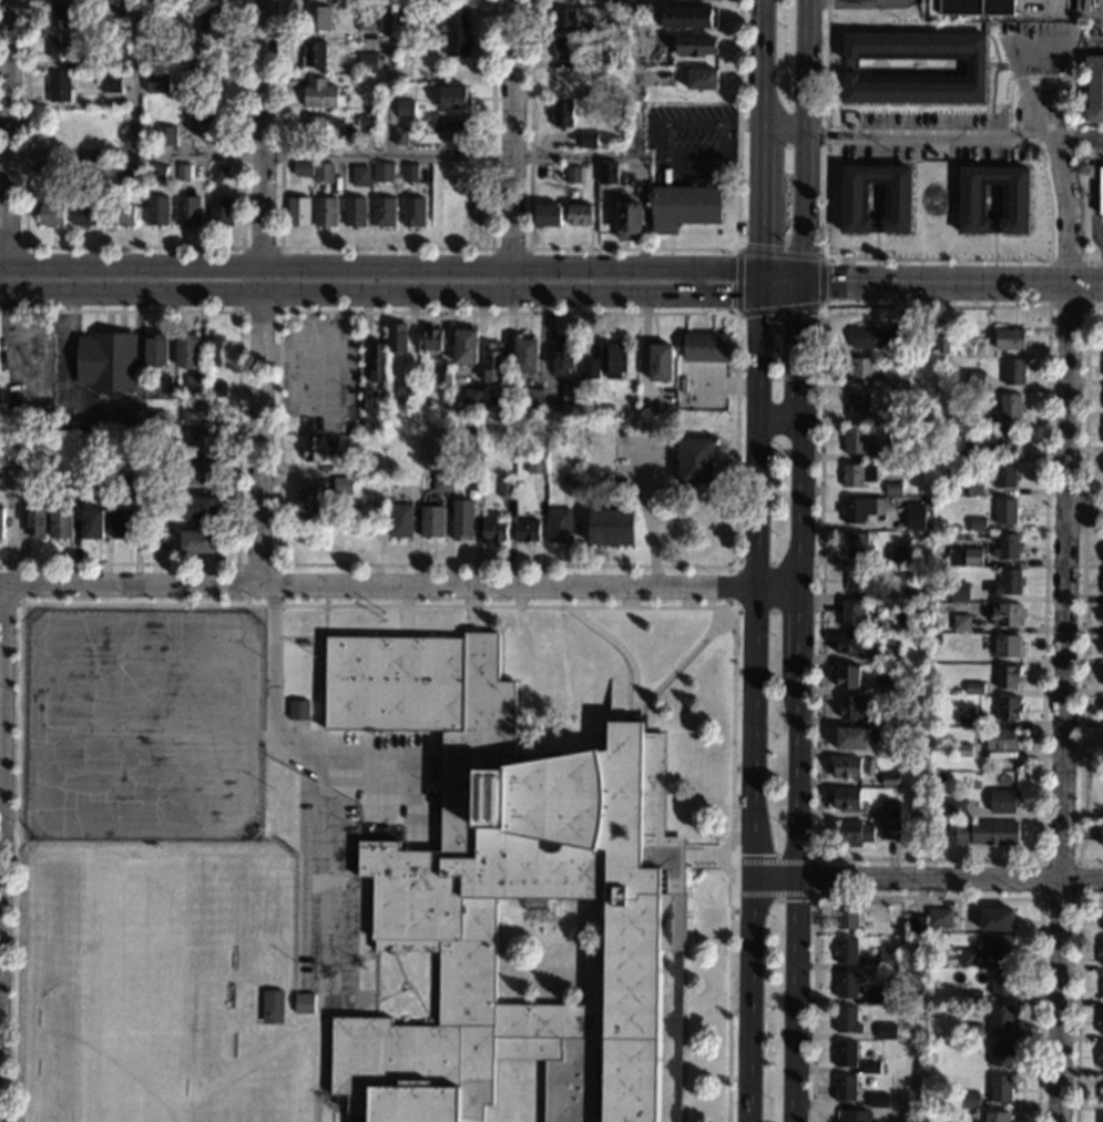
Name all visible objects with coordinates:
road: (828, 1)
building: (615, 2)
building: (977, 7)
building: (933, 8)
building: (114, 11)
building: (402, 12)
building: (426, 12)
building: (58, 16)
building: (317, 18)
building: (563, 18)
building: (686, 18)
building: (946, 18)
building: (366, 19)
building: (210, 21)
building: (594, 30)
building: (455, 32)
building: (181, 41)
building: (149, 44)
building: (696, 45)
building: (58, 47)
building: (568, 49)
building: (314, 53)
building: (599, 59)
building: (367, 63)
building: (86, 64)
building: (976, 67)
building: (205, 70)
road: (764, 72)
road: (134, 76)
road: (387, 78)
road: (637, 78)
building: (665, 78)
building: (566, 79)
building: (702, 79)
building: (110, 82)
building: (156, 83)
building: (408, 85)
building: (59, 88)
building: (1094, 89)
building: (596, 92)
building: (320, 94)
building: (453, 96)
building: (404, 109)
building: (562, 113)
building: (201, 119)
building: (366, 123)
road: (749, 123)
road: (731, 124)
building: (314, 129)
building: (457, 130)
road: (1076, 133)
road: (803, 134)
building: (165, 135)
building: (399, 135)
road: (906, 135)
building: (601, 136)
building: (589, 140)
road: (3, 144)
road: (514, 145)
road: (324, 155)
road: (660, 157)
road: (764, 163)
building: (303, 169)
building: (57, 171)
building: (134, 172)
building: (156, 172)
building: (182, 172)
building: (323, 172)
building: (381, 172)
building: (409, 173)
building: (607, 173)
building: (217, 174)
building: (476, 174)
building: (573, 174)
building: (359, 175)
building: (96, 180)
road: (1093, 186)
building: (344, 188)
building: (1100, 190)
road: (1066, 196)
building: (460, 198)
building: (898, 201)
building: (1017, 201)
building: (685, 205)
building: (156, 210)
building: (186, 210)
building: (81, 211)
building: (221, 211)
building: (297, 211)
building: (412, 211)
building: (325, 212)
building: (354, 212)
building: (384, 212)
building: (51, 214)
building: (121, 214)
building: (448, 214)
building: (476, 214)
building: (580, 214)
building: (548, 215)
building: (630, 216)
road: (764, 237)
traffic signals: (764, 244)
road: (132, 245)
road: (385, 246)
road: (633, 247)
building: (847, 254)
road: (530, 258)
road: (1034, 258)
road: (22, 266)
road: (401, 267)
road: (813, 276)
road: (962, 280)
road: (803, 282)
traffic signals: (830, 282)
road: (813, 287)
road: (258, 290)
road: (382, 290)
road: (784, 293)
traffic signals: (729, 294)
road: (737, 304)
road: (1083, 305)
road: (239, 310)
road: (736, 313)
building: (876, 336)
building: (396, 337)
traffic signals: (800, 337)
building: (1010, 338)
building: (429, 339)
road: (800, 345)
building: (941, 345)
building: (466, 347)
building: (706, 347)
building: (155, 349)
building: (212, 349)
building: (186, 350)
building: (562, 355)
building: (525, 356)
road: (762, 357)
building: (613, 359)
building: (105, 361)
building: (492, 361)
building: (375, 363)
building: (661, 363)
building: (590, 369)
building: (860, 370)
building: (1014, 371)
building: (443, 377)
building: (974, 381)
building: (193, 385)
building: (898, 385)
building: (215, 389)
building: (400, 390)
building: (569, 390)
building: (472, 398)
building: (534, 398)
road: (1084, 398)
building: (0, 399)
building: (364, 399)
building: (409, 399)
building: (648, 405)
building: (858, 405)
building: (1010, 407)
road: (800, 409)
building: (198, 411)
building: (898, 417)
building: (154, 419)
building: (978, 419)
road: (780, 420)
building: (1102, 433)
road: (237, 436)
building: (856, 441)
building: (1007, 441)
building: (204, 442)
building: (313, 449)
building: (969, 450)
building: (177, 452)
building: (893, 452)
building: (695, 461)
building: (537, 462)
building: (446, 466)
building: (144, 467)
building: (25, 473)
building: (198, 473)
building: (857, 473)
building: (1004, 476)
building: (99, 477)
building: (0, 479)
building: (131, 480)
building: (440, 481)
building: (473, 481)
building: (569, 481)
building: (69, 482)
building: (341, 486)
building: (399, 488)
building: (505, 488)
building: (892, 489)
building: (976, 489)
building: (906, 490)
building: (308, 499)
road: (799, 504)
building: (197, 507)
building: (859, 509)
building: (1005, 510)
road: (1084, 510)
road: (1084, 512)
building: (915, 516)
building: (461, 519)
building: (399, 520)
building: (431, 521)
building: (0, 522)
building: (34, 522)
building: (890, 522)
building: (60, 523)
building: (90, 523)
building: (122, 524)
building: (978, 524)
building: (559, 526)
building: (611, 527)
building: (494, 530)
building: (527, 530)
building: (337, 531)
building: (371, 531)
building: (197, 541)
building: (855, 545)
building: (1007, 545)
building: (899, 554)
building: (964, 557)
road: (236, 563)
road: (756, 565)
building: (859, 580)
building: (1007, 582)
building: (1102, 582)
road: (399, 583)
building: (917, 590)
building: (959, 591)
road: (9, 603)
road: (375, 604)
building: (852, 613)
building: (1102, 614)
building: (1004, 615)
building: (961, 623)
road: (0, 631)
road: (798, 634)
building: (938, 639)
building: (848, 643)
building: (1007, 646)
building: (1102, 646)
building: (891, 654)
building: (847, 675)
building: (1008, 676)
building: (882, 684)
building: (974, 686)
road: (1081, 696)
road: (1064, 701)
road: (639, 705)
building: (849, 706)
building: (1008, 707)
building: (297, 710)
building: (888, 718)
road: (272, 720)
building: (921, 732)
building: (895, 734)
building: (851, 738)
building: (1002, 738)
building: (961, 749)
building: (846, 767)
road: (754, 771)
building: (889, 779)
building: (846, 798)
building: (1003, 799)
building: (889, 808)
building: (956, 808)
building: (888, 829)
building: (854, 833)
building: (983, 833)
parking lot: (350, 834)
building: (1102, 836)
building: (378, 837)
road: (773, 857)
road: (817, 858)
road: (816, 877)
road: (928, 881)
building: (505, 891)
road: (773, 897)
road: (927, 897)
road: (1078, 898)
road: (800, 900)
building: (846, 916)
building: (940, 917)
building: (997, 919)
building: (916, 925)
building: (1000, 947)
building: (846, 950)
building: (1100, 951)
building: (968, 958)
building: (888, 959)
building: (1001, 982)
building: (845, 985)
building: (1102, 986)
road: (406, 989)
road: (411, 989)
park: (135, 990)
road: (395, 992)
building: (879, 996)
building: (973, 997)
building: (1102, 997)
road: (1076, 998)
building: (303, 1003)
building: (272, 1006)
building: (1001, 1017)
building: (846, 1019)
building: (1101, 1021)
building: (971, 1030)
building: (886, 1031)
building: (1001, 1052)
building: (845, 1053)
building: (1100, 1055)
building: (871, 1068)
building: (844, 1088)
building: (1000, 1088)
building: (1102, 1089)
building: (878, 1099)
building: (969, 1100)
building: (854, 1116)
building: (995, 1116)
building: (1101, 1116)

